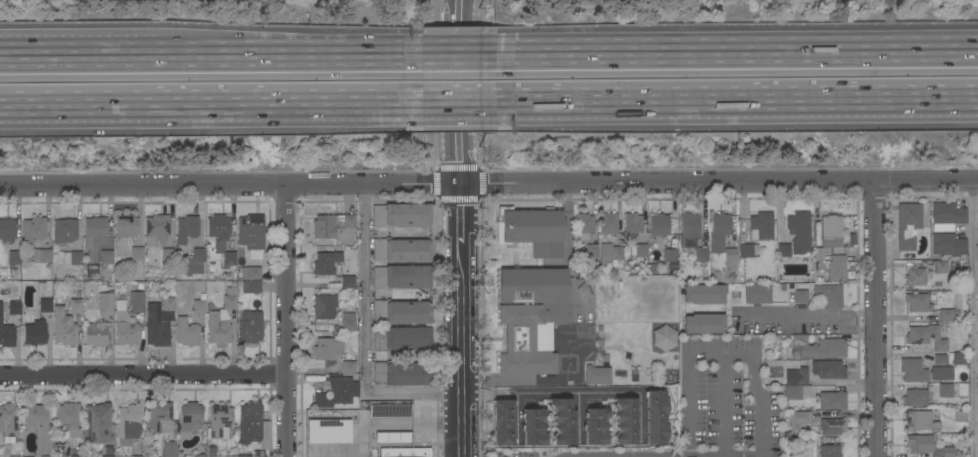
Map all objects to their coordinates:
road: (459, 15)
road: (740, 41)
road: (468, 43)
road: (294, 45)
road: (77, 48)
road: (460, 71)
road: (466, 106)
road: (742, 106)
road: (213, 107)
road: (461, 148)
road: (489, 184)
building: (401, 215)
building: (947, 216)
building: (608, 223)
building: (632, 224)
building: (659, 224)
building: (331, 225)
building: (908, 225)
building: (125, 226)
building: (583, 226)
building: (761, 226)
building: (830, 227)
building: (186, 229)
building: (7, 230)
building: (33, 230)
building: (156, 230)
building: (532, 230)
building: (689, 230)
building: (64, 231)
building: (251, 232)
building: (799, 232)
building: (221, 238)
building: (722, 240)
building: (948, 245)
building: (97, 249)
building: (401, 250)
building: (638, 250)
building: (748, 250)
building: (783, 250)
building: (592, 251)
building: (820, 253)
building: (136, 254)
building: (610, 254)
building: (169, 255)
building: (701, 255)
building: (38, 256)
building: (14, 258)
building: (72, 258)
building: (670, 259)
building: (193, 262)
building: (326, 263)
building: (92, 264)
building: (944, 266)
building: (836, 268)
building: (977, 269)
building: (250, 273)
building: (212, 275)
building: (400, 277)
building: (915, 277)
building: (176, 278)
building: (348, 282)
building: (179, 285)
building: (254, 287)
building: (704, 294)
building: (757, 294)
building: (829, 295)
building: (800, 297)
building: (137, 302)
building: (921, 302)
building: (89, 304)
building: (168, 304)
building: (45, 305)
building: (76, 306)
building: (324, 306)
building: (199, 307)
building: (14, 308)
building: (401, 312)
road: (852, 313)
road: (784, 314)
building: (957, 314)
building: (946, 315)
building: (530, 318)
building: (119, 319)
road: (874, 319)
road: (973, 319)
building: (221, 320)
road: (460, 320)
road: (286, 321)
building: (347, 323)
building: (704, 323)
building: (249, 326)
road: (851, 326)
building: (156, 327)
building: (64, 328)
building: (6, 330)
building: (186, 332)
building: (35, 333)
building: (96, 334)
road: (366, 337)
building: (663, 337)
building: (926, 337)
building: (402, 339)
building: (817, 347)
building: (328, 348)
road: (720, 354)
building: (957, 358)
building: (940, 359)
building: (349, 367)
building: (828, 370)
building: (914, 370)
road: (143, 372)
building: (941, 373)
building: (400, 374)
building: (597, 375)
building: (797, 376)
building: (945, 390)
road: (573, 392)
building: (337, 393)
building: (790, 395)
building: (915, 397)
building: (832, 400)
road: (723, 405)
building: (390, 410)
building: (959, 416)
building: (189, 417)
building: (656, 417)
building: (69, 418)
building: (160, 418)
building: (799, 420)
building: (219, 421)
building: (563, 421)
building: (920, 421)
building: (9, 422)
building: (252, 422)
building: (503, 422)
building: (626, 422)
building: (97, 424)
building: (128, 424)
building: (39, 427)
building: (533, 427)
building: (595, 427)
building: (833, 427)
building: (329, 430)
building: (394, 437)
building: (926, 446)
building: (169, 449)
building: (829, 451)
building: (17, 456)
building: (49, 456)
building: (77, 456)
building: (107, 456)
building: (138, 456)
building: (200, 456)
building: (230, 456)
building: (244, 456)

